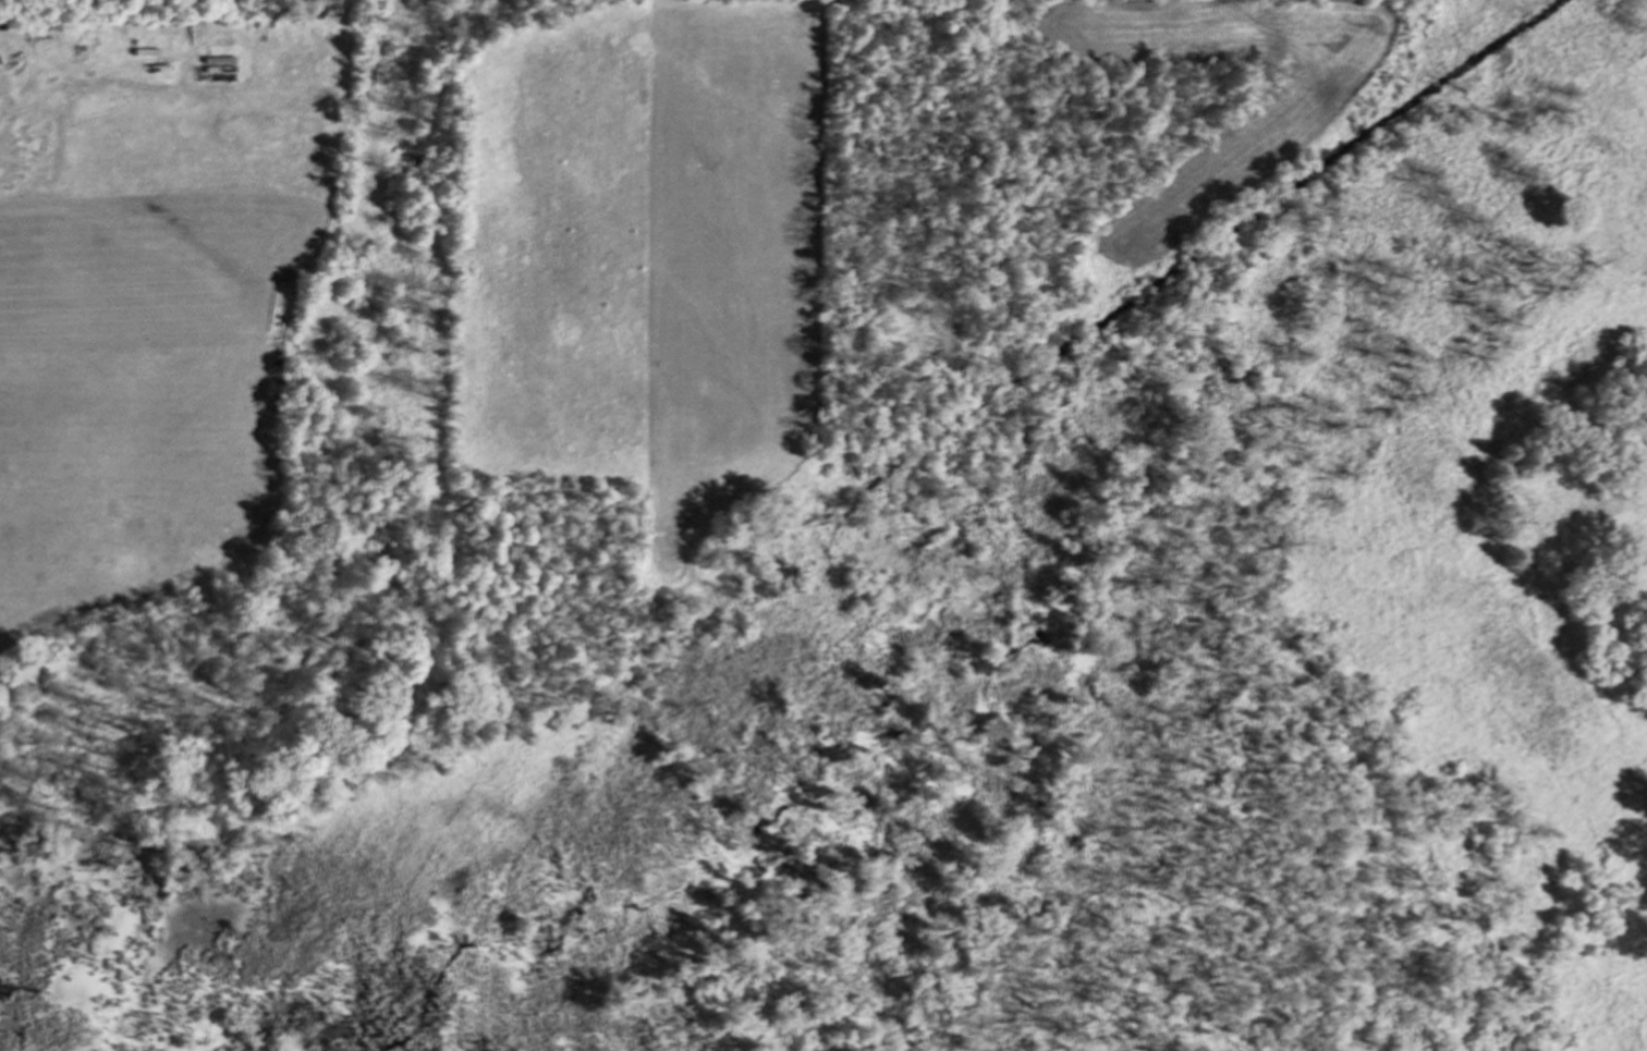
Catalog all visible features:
crop: (731, 255)

